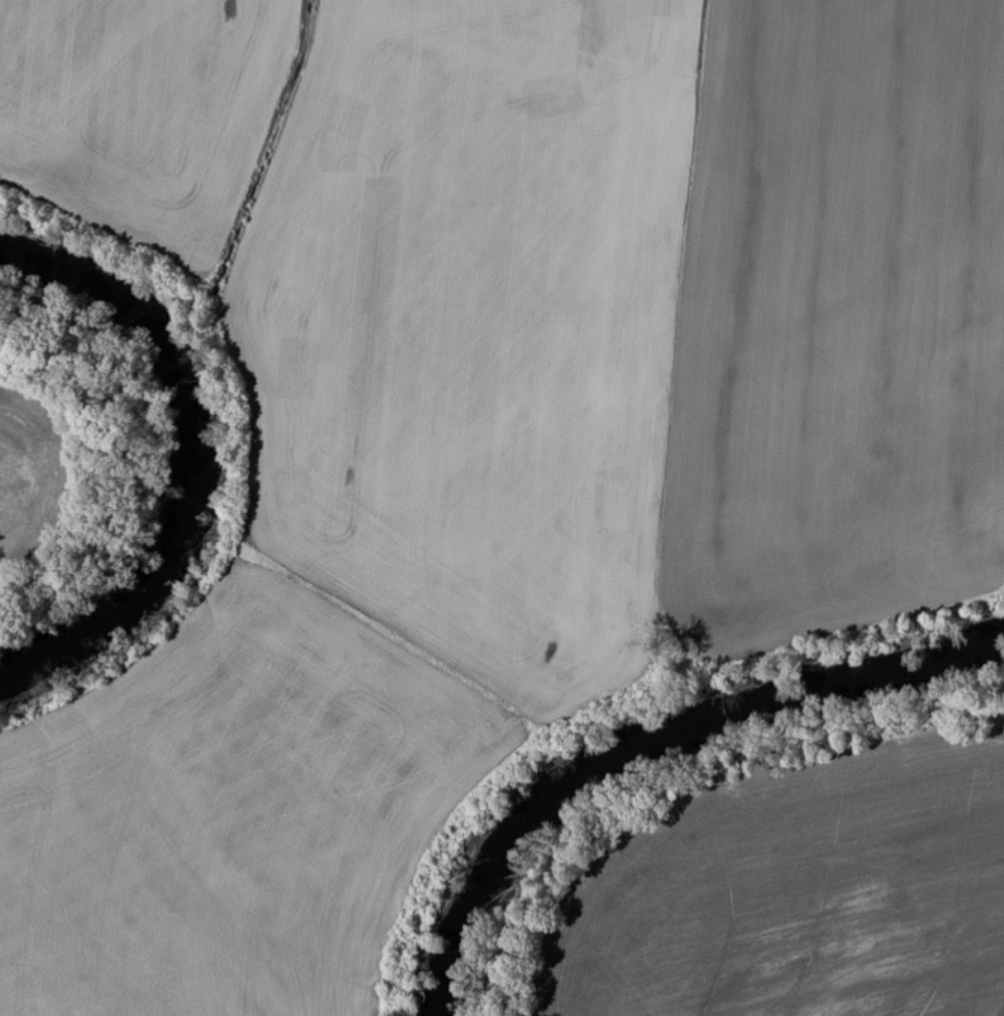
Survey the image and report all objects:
road: (5, 185)
river: (180, 451)
river: (650, 744)

